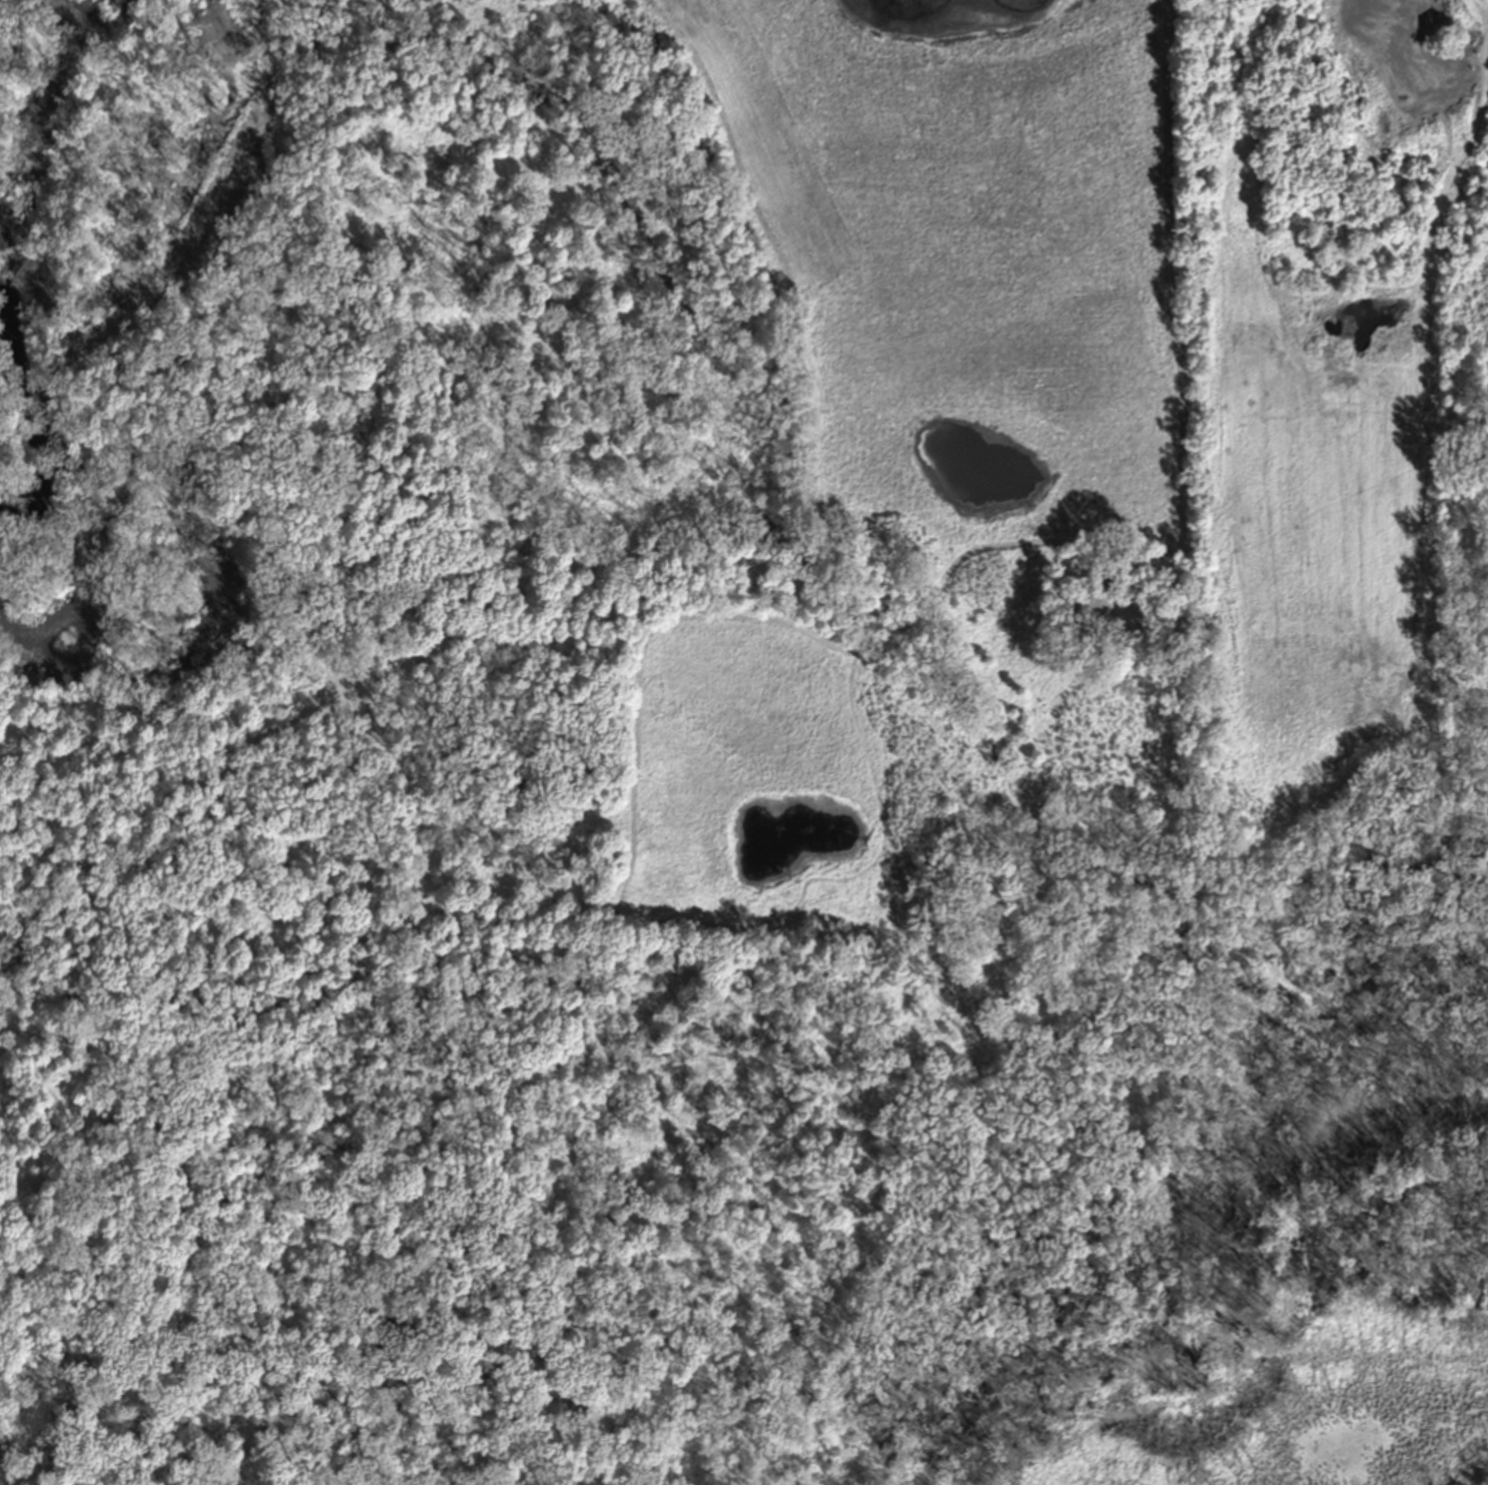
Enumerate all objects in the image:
river: (28, 409)

